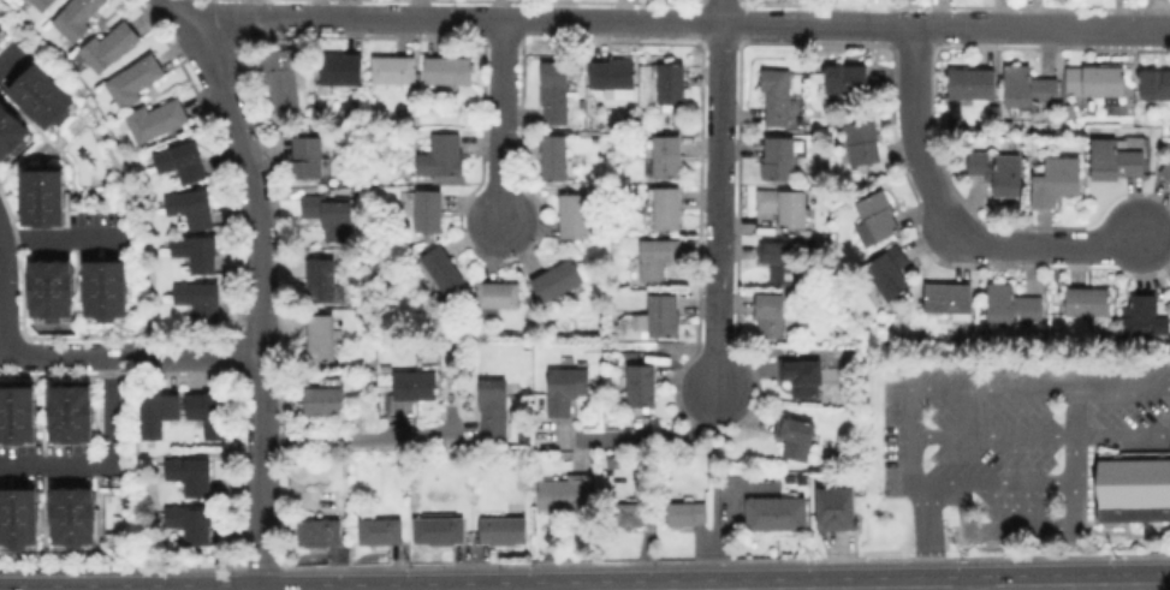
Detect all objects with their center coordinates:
building: (42, 4)
building: (77, 17)
road: (681, 22)
building: (1, 29)
building: (111, 46)
road: (12, 62)
building: (343, 68)
building: (394, 70)
building: (449, 70)
building: (612, 73)
building: (847, 78)
building: (135, 79)
building: (281, 79)
building: (1094, 79)
building: (972, 83)
building: (1154, 83)
building: (671, 84)
rooftop solar panel: (1147, 84)
building: (1028, 87)
building: (554, 93)
building: (777, 95)
building: (40, 96)
building: (156, 119)
road: (499, 120)
building: (1006, 124)
building: (10, 132)
building: (862, 142)
building: (780, 154)
building: (308, 156)
building: (443, 156)
building: (667, 156)
building: (554, 157)
building: (1115, 159)
building: (178, 160)
building: (1166, 169)
building: (997, 171)
building: (1056, 180)
road: (714, 195)
building: (41, 197)
building: (784, 205)
building: (188, 207)
building: (667, 208)
building: (429, 210)
building: (575, 215)
building: (878, 215)
building: (329, 216)
road: (952, 219)
road: (63, 238)
building: (192, 251)
building: (658, 257)
building: (777, 257)
building: (444, 268)
building: (887, 272)
building: (321, 280)
building: (557, 280)
road: (260, 284)
building: (48, 287)
building: (102, 288)
road: (5, 294)
building: (498, 294)
building: (195, 298)
building: (949, 299)
building: (1088, 303)
building: (1010, 305)
building: (663, 314)
building: (771, 314)
building: (1146, 315)
building: (321, 336)
road: (129, 357)
building: (384, 366)
building: (802, 375)
building: (417, 382)
building: (643, 382)
road: (1043, 385)
building: (566, 388)
building: (325, 400)
building: (493, 406)
building: (154, 412)
building: (204, 412)
building: (16, 413)
building: (70, 413)
road: (360, 437)
building: (796, 437)
road: (993, 437)
road: (1122, 437)
road: (647, 439)
road: (111, 466)
building: (188, 473)
road: (993, 479)
building: (1134, 485)
road: (916, 489)
road: (718, 490)
building: (563, 495)
building: (836, 508)
building: (685, 513)
building: (629, 514)
building: (17, 515)
building: (70, 515)
building: (777, 517)
building: (188, 523)
road: (1062, 524)
building: (439, 530)
building: (504, 530)
building: (320, 531)
building: (381, 531)
road: (990, 573)
road: (1169, 585)
road: (1074, 588)
road: (950, 589)
road: (978, 589)

